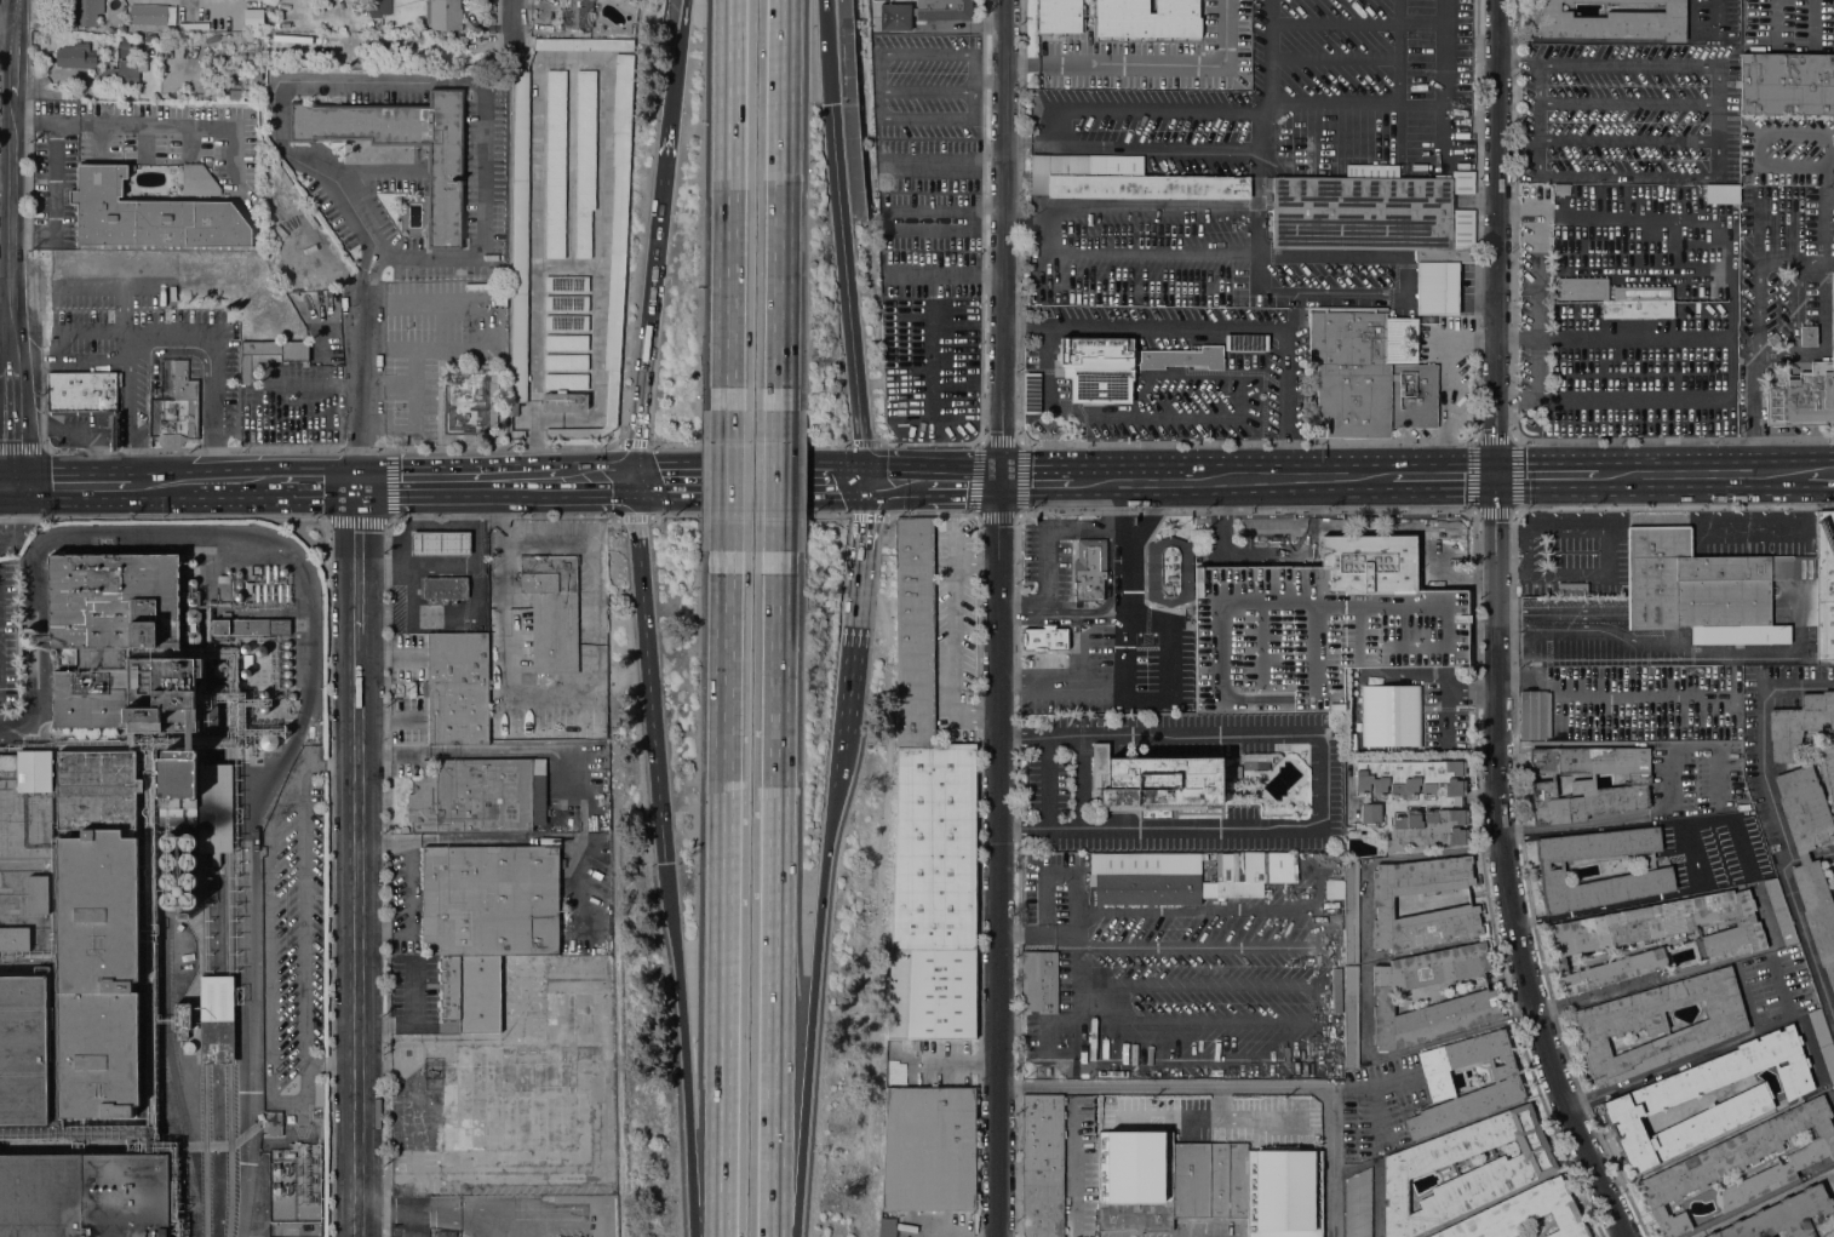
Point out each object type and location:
building: (254, 0)
building: (377, 6)
building: (85, 12)
building: (922, 12)
road: (15, 13)
building: (577, 13)
building: (148, 15)
building: (443, 15)
building: (1059, 16)
building: (257, 18)
building: (1147, 18)
road: (1299, 19)
building: (1609, 22)
building: (109, 24)
building: (193, 25)
road: (6, 28)
road: (511, 28)
building: (150, 38)
road: (1621, 41)
building: (584, 44)
road: (390, 50)
road: (821, 52)
building: (74, 57)
road: (12, 62)
road: (680, 63)
road: (1518, 63)
road: (1627, 64)
road: (1146, 65)
building: (121, 74)
road: (988, 80)
road: (878, 84)
building: (1786, 84)
road: (973, 85)
road: (480, 86)
road: (925, 91)
traffic signals: (825, 104)
road: (1538, 121)
road: (124, 124)
road: (1518, 148)
road: (993, 154)
building: (585, 160)
building: (555, 164)
road: (938, 165)
road: (1683, 177)
building: (197, 182)
building: (1123, 182)
road: (778, 193)
road: (730, 194)
building: (1720, 194)
road: (55, 197)
building: (445, 197)
road: (1827, 197)
building: (149, 216)
building: (1462, 222)
parking lot: (925, 224)
building: (1375, 227)
road: (12, 230)
building: (518, 239)
building: (614, 246)
road: (1795, 265)
road: (1614, 274)
road: (932, 276)
road: (990, 277)
building: (567, 284)
road: (111, 287)
road: (842, 292)
building: (1643, 292)
building: (1716, 292)
road: (360, 303)
building: (566, 303)
road: (654, 304)
building: (1637, 309)
road: (1755, 309)
road: (121, 313)
building: (566, 322)
road: (1793, 330)
road: (1217, 331)
road: (1645, 336)
building: (1807, 336)
building: (1773, 340)
building: (564, 342)
building: (1246, 342)
road: (930, 344)
building: (269, 355)
road: (213, 357)
building: (1182, 357)
road: (130, 360)
building: (564, 361)
building: (1356, 368)
building: (1097, 370)
road: (320, 382)
building: (566, 382)
building: (1803, 391)
building: (82, 393)
building: (1031, 393)
building: (1412, 396)
road: (1645, 399)
building: (470, 401)
building: (563, 402)
building: (193, 408)
building: (172, 412)
road: (1753, 414)
road: (13, 424)
building: (516, 433)
road: (631, 442)
road: (865, 442)
road: (930, 442)
road: (749, 443)
road: (22, 446)
road: (329, 451)
road: (1822, 473)
road: (1547, 475)
road: (1704, 475)
road: (1444, 476)
traffic signals: (1495, 476)
road: (1291, 477)
road: (729, 480)
road: (776, 480)
road: (1131, 480)
road: (749, 481)
traffic signals: (856, 481)
road: (893, 481)
road: (964, 481)
road: (1037, 481)
road: (235, 482)
road: (322, 482)
traffic signals: (356, 482)
road: (415, 482)
road: (488, 482)
road: (529, 482)
road: (600, 482)
traffic signals: (641, 482)
traffic signals: (1001, 482)
road: (6, 483)
traffic signals: (13, 483)
road: (69, 483)
road: (154, 483)
road: (0, 506)
road: (930, 511)
road: (749, 515)
road: (1014, 515)
road: (162, 516)
road: (388, 516)
road: (500, 516)
road: (631, 516)
road: (867, 516)
road: (1150, 516)
road: (23, 521)
road: (357, 525)
road: (1084, 529)
building: (440, 543)
gas station: (440, 543)
building: (1370, 561)
building: (191, 562)
road: (445, 566)
road: (384, 568)
building: (1089, 569)
building: (282, 571)
road: (1045, 571)
building: (1169, 571)
building: (237, 579)
building: (191, 583)
building: (1824, 585)
building: (223, 588)
building: (445, 588)
building: (1571, 589)
building: (1706, 589)
road: (1124, 590)
road: (476, 594)
building: (237, 596)
road: (357, 597)
road: (847, 605)
road: (1090, 609)
building: (551, 611)
building: (191, 617)
road: (998, 618)
building: (248, 625)
building: (1404, 628)
road: (1495, 629)
building: (28, 637)
building: (191, 637)
road: (955, 637)
building: (1043, 637)
building: (1267, 640)
road: (1169, 642)
building: (286, 643)
building: (245, 648)
building: (287, 653)
building: (53, 654)
building: (243, 660)
building: (286, 664)
building: (220, 669)
building: (245, 672)
building: (287, 672)
road: (653, 674)
building: (134, 675)
building: (287, 683)
building: (457, 689)
building: (219, 691)
building: (263, 694)
building: (291, 695)
building: (263, 708)
building: (1530, 715)
building: (1798, 725)
building: (283, 731)
road: (1159, 733)
road: (835, 738)
building: (268, 740)
building: (142, 741)
road: (557, 749)
building: (1254, 764)
building: (1828, 764)
road: (832, 767)
road: (1673, 777)
building: (1158, 779)
road: (1320, 781)
building: (1586, 781)
road: (1083, 783)
road: (1047, 784)
building: (602, 786)
building: (477, 795)
building: (1370, 806)
building: (928, 826)
road: (1158, 830)
road: (1779, 830)
building: (51, 832)
road: (469, 838)
building: (167, 842)
building: (187, 842)
road: (1832, 851)
road: (1692, 853)
building: (214, 859)
building: (168, 861)
building: (187, 861)
building: (1833, 861)
traffic signals: (669, 865)
building: (1833, 871)
road: (1060, 872)
building: (1146, 878)
building: (1639, 878)
building: (167, 881)
building: (187, 881)
building: (1207, 884)
road: (727, 888)
road: (823, 889)
building: (1811, 889)
building: (168, 900)
building: (187, 900)
building: (489, 900)
building: (1382, 904)
road: (774, 905)
road: (411, 912)
building: (1351, 912)
building: (1779, 912)
road: (1323, 926)
road: (357, 932)
building: (1655, 935)
building: (98, 974)
building: (1038, 981)
building: (470, 992)
road: (680, 995)
building: (1478, 996)
building: (1833, 1007)
building: (578, 1012)
building: (1351, 1018)
building: (184, 1019)
building: (216, 1019)
road: (414, 1019)
road: (1262, 1023)
building: (1657, 1024)
building: (1822, 1041)
building: (188, 1047)
building: (23, 1050)
road: (1706, 1052)
road: (1239, 1088)
building: (1498, 1090)
building: (319, 1094)
building: (1646, 1100)
building: (516, 1106)
railway: (205, 1109)
railway: (229, 1109)
road: (804, 1116)
building: (273, 1123)
building: (928, 1149)
building: (288, 1155)
building: (1740, 1164)
road: (706, 1166)
building: (1042, 1166)
building: (1505, 1173)
building: (1135, 1180)
building: (1209, 1180)
power substation: (293, 1186)
building: (1283, 1193)
building: (84, 1195)
road: (1767, 1201)
building: (1358, 1204)
building: (1523, 1214)
building: (1787, 1218)
road: (723, 1220)
building: (887, 1227)
building: (300, 1231)

